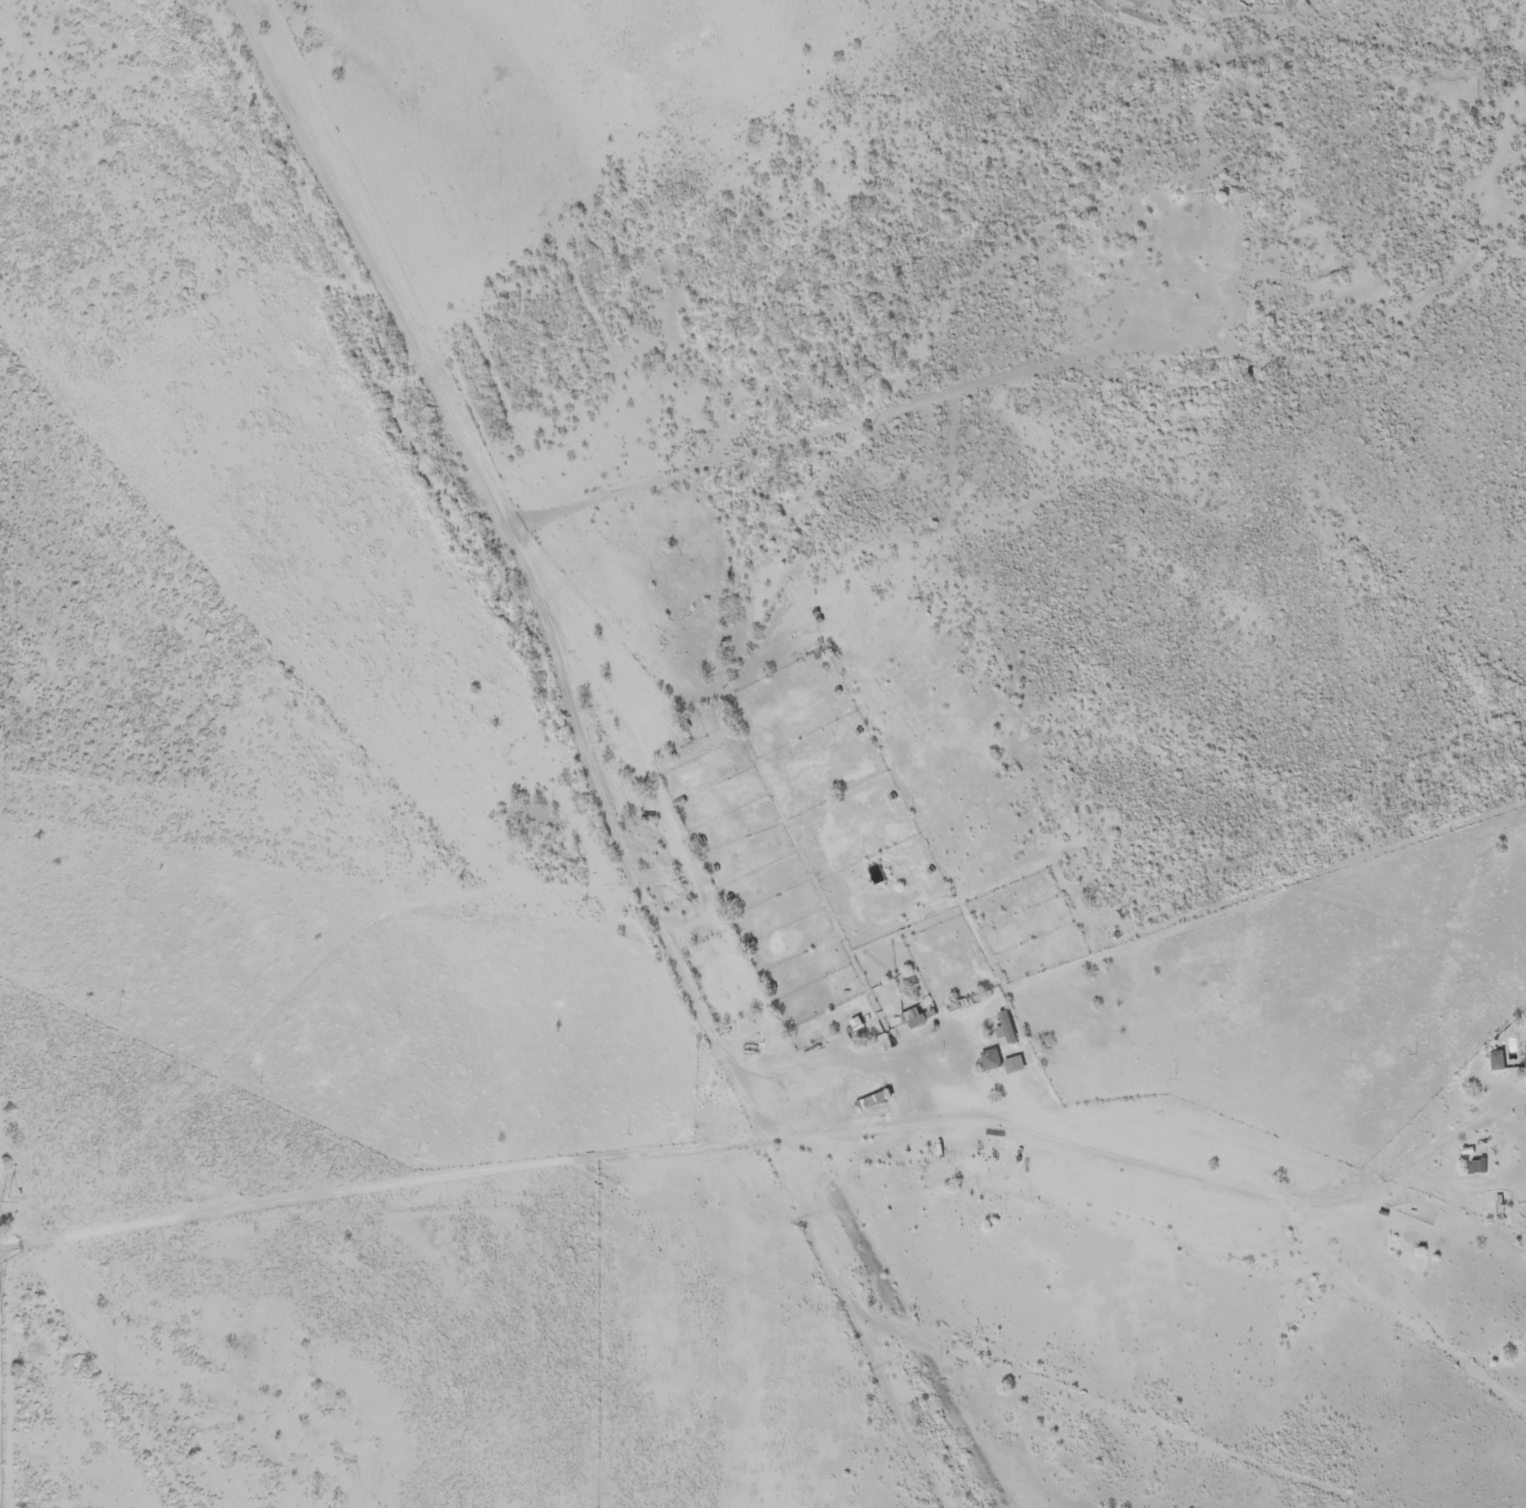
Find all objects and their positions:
road: (1427, 121)
road: (505, 447)
road: (1019, 680)
road: (191, 687)
road: (650, 723)
road: (585, 931)
building: (1000, 1028)
building: (856, 1029)
building: (1524, 1055)
building: (985, 1062)
building: (1007, 1066)
building: (868, 1102)
power tower: (10, 1201)
road: (1182, 1232)
road: (103, 1377)
road: (866, 1445)

